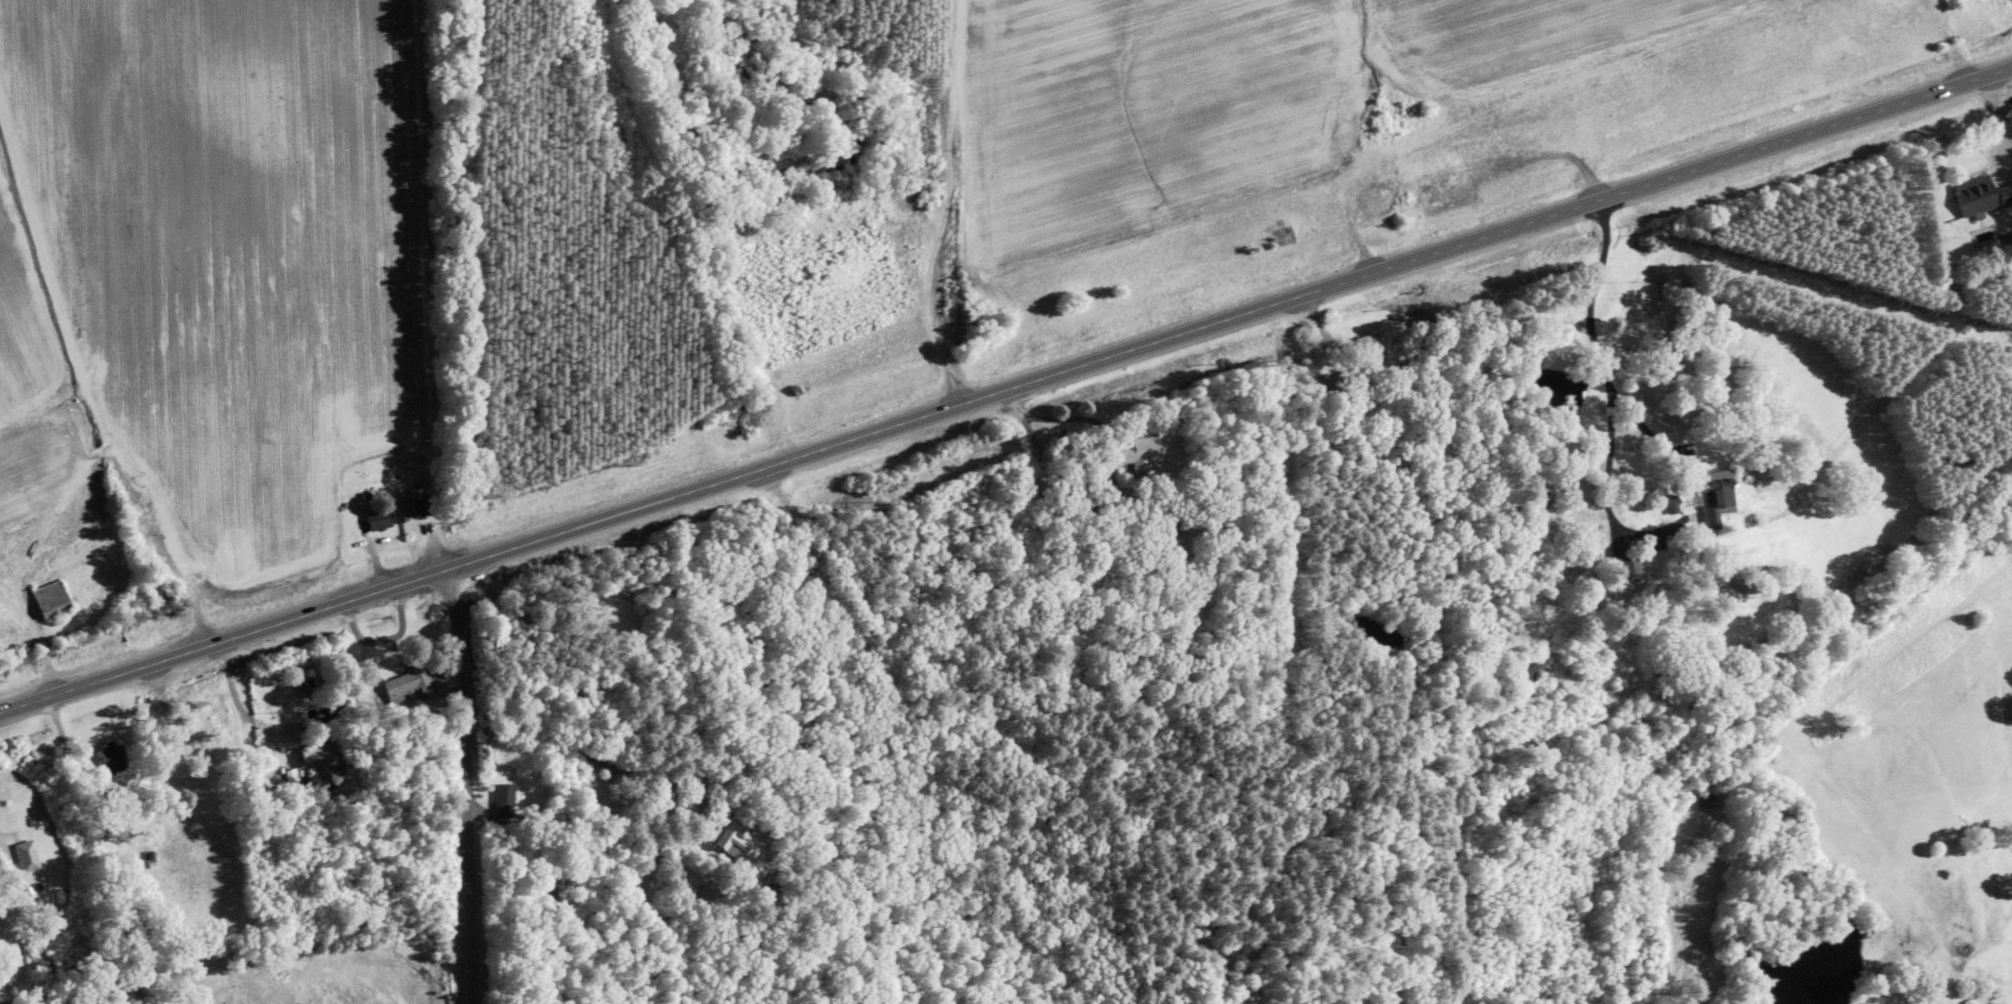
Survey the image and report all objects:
building: (1445, 192)
building: (1981, 194)
road: (1005, 387)
road: (1604, 401)
building: (1147, 451)
building: (1722, 495)
building: (422, 505)
building: (381, 518)
building: (53, 599)
building: (413, 680)
road: (239, 702)
building: (114, 756)
road: (596, 757)
road: (464, 785)
building: (1709, 799)
building: (505, 800)
building: (729, 833)
road: (2, 854)
building: (29, 856)
building: (4, 909)

